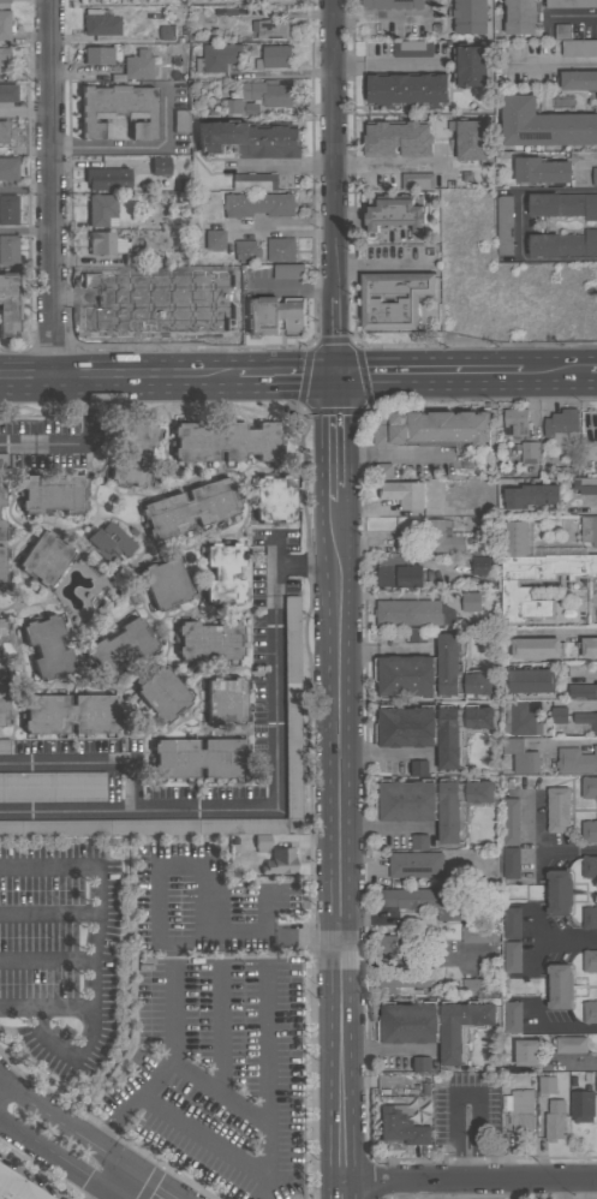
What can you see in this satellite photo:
building: (4, 4)
building: (395, 4)
building: (572, 4)
road: (571, 14)
road: (293, 16)
building: (470, 16)
building: (520, 16)
road: (380, 18)
building: (5, 24)
building: (100, 25)
building: (274, 28)
building: (166, 34)
building: (574, 43)
building: (412, 49)
building: (2, 55)
building: (97, 56)
building: (217, 58)
building: (274, 58)
road: (388, 62)
road: (553, 65)
building: (137, 66)
building: (470, 66)
building: (578, 80)
building: (406, 90)
building: (7, 91)
building: (261, 99)
building: (118, 115)
building: (180, 120)
building: (544, 124)
building: (5, 131)
building: (249, 138)
building: (398, 138)
building: (470, 138)
road: (132, 147)
road: (334, 149)
building: (160, 165)
road: (390, 165)
road: (586, 165)
building: (8, 167)
road: (279, 167)
building: (542, 171)
building: (595, 177)
building: (107, 178)
building: (417, 180)
building: (255, 181)
road: (49, 189)
road: (24, 190)
building: (563, 204)
building: (259, 205)
building: (8, 209)
building: (102, 209)
building: (395, 213)
road: (519, 225)
building: (503, 226)
road: (283, 227)
road: (24, 229)
building: (214, 239)
building: (105, 243)
building: (563, 244)
building: (8, 249)
building: (280, 249)
building: (246, 251)
building: (288, 272)
building: (393, 299)
building: (8, 303)
building: (274, 315)
road: (336, 336)
road: (555, 374)
road: (593, 374)
road: (429, 375)
road: (119, 376)
road: (287, 376)
building: (515, 422)
building: (561, 428)
building: (434, 430)
building: (225, 440)
road: (336, 440)
road: (76, 443)
building: (133, 452)
building: (530, 453)
building: (383, 471)
building: (585, 485)
building: (52, 493)
building: (402, 493)
building: (1, 495)
building: (531, 495)
building: (273, 497)
road: (590, 506)
building: (189, 508)
building: (1, 529)
building: (589, 530)
building: (441, 537)
building: (111, 542)
building: (44, 557)
building: (1, 566)
building: (480, 566)
building: (223, 572)
building: (400, 575)
building: (533, 575)
building: (165, 581)
building: (468, 602)
building: (407, 613)
building: (2, 630)
building: (417, 636)
building: (209, 639)
building: (47, 645)
building: (120, 648)
building: (536, 648)
building: (587, 648)
road: (383, 651)
building: (2, 664)
building: (431, 673)
building: (531, 680)
building: (583, 692)
building: (162, 694)
building: (225, 699)
building: (2, 703)
building: (292, 704)
building: (70, 712)
building: (559, 715)
building: (520, 720)
building: (586, 720)
building: (431, 729)
road: (563, 742)
building: (4, 745)
road: (386, 756)
building: (520, 756)
building: (199, 757)
building: (575, 760)
road: (86, 765)
building: (418, 769)
building: (53, 786)
building: (589, 787)
road: (276, 797)
building: (432, 803)
building: (557, 810)
building: (511, 821)
building: (143, 827)
road: (386, 828)
building: (589, 831)
building: (419, 842)
road: (547, 849)
road: (342, 851)
building: (280, 860)
road: (184, 861)
building: (511, 863)
building: (416, 865)
building: (590, 866)
building: (559, 891)
building: (426, 901)
road: (263, 909)
road: (48, 914)
building: (590, 918)
building: (512, 923)
road: (249, 935)
building: (471, 935)
road: (566, 941)
road: (175, 943)
building: (405, 943)
road: (95, 952)
parking lot: (62, 956)
building: (512, 958)
road: (47, 960)
building: (590, 961)
building: (405, 978)
building: (474, 985)
building: (560, 986)
road: (46, 1009)
building: (590, 1012)
building: (512, 1018)
building: (435, 1025)
road: (222, 1030)
road: (563, 1030)
building: (571, 1045)
road: (268, 1049)
road: (389, 1050)
building: (527, 1052)
road: (169, 1058)
building: (420, 1064)
building: (547, 1085)
road: (465, 1098)
building: (584, 1105)
building: (519, 1110)
building: (555, 1120)
building: (401, 1125)
road: (90, 1137)
road: (265, 1156)
road: (56, 1162)
road: (468, 1180)
building: (18, 1186)
road: (518, 1189)
road: (401, 1191)

